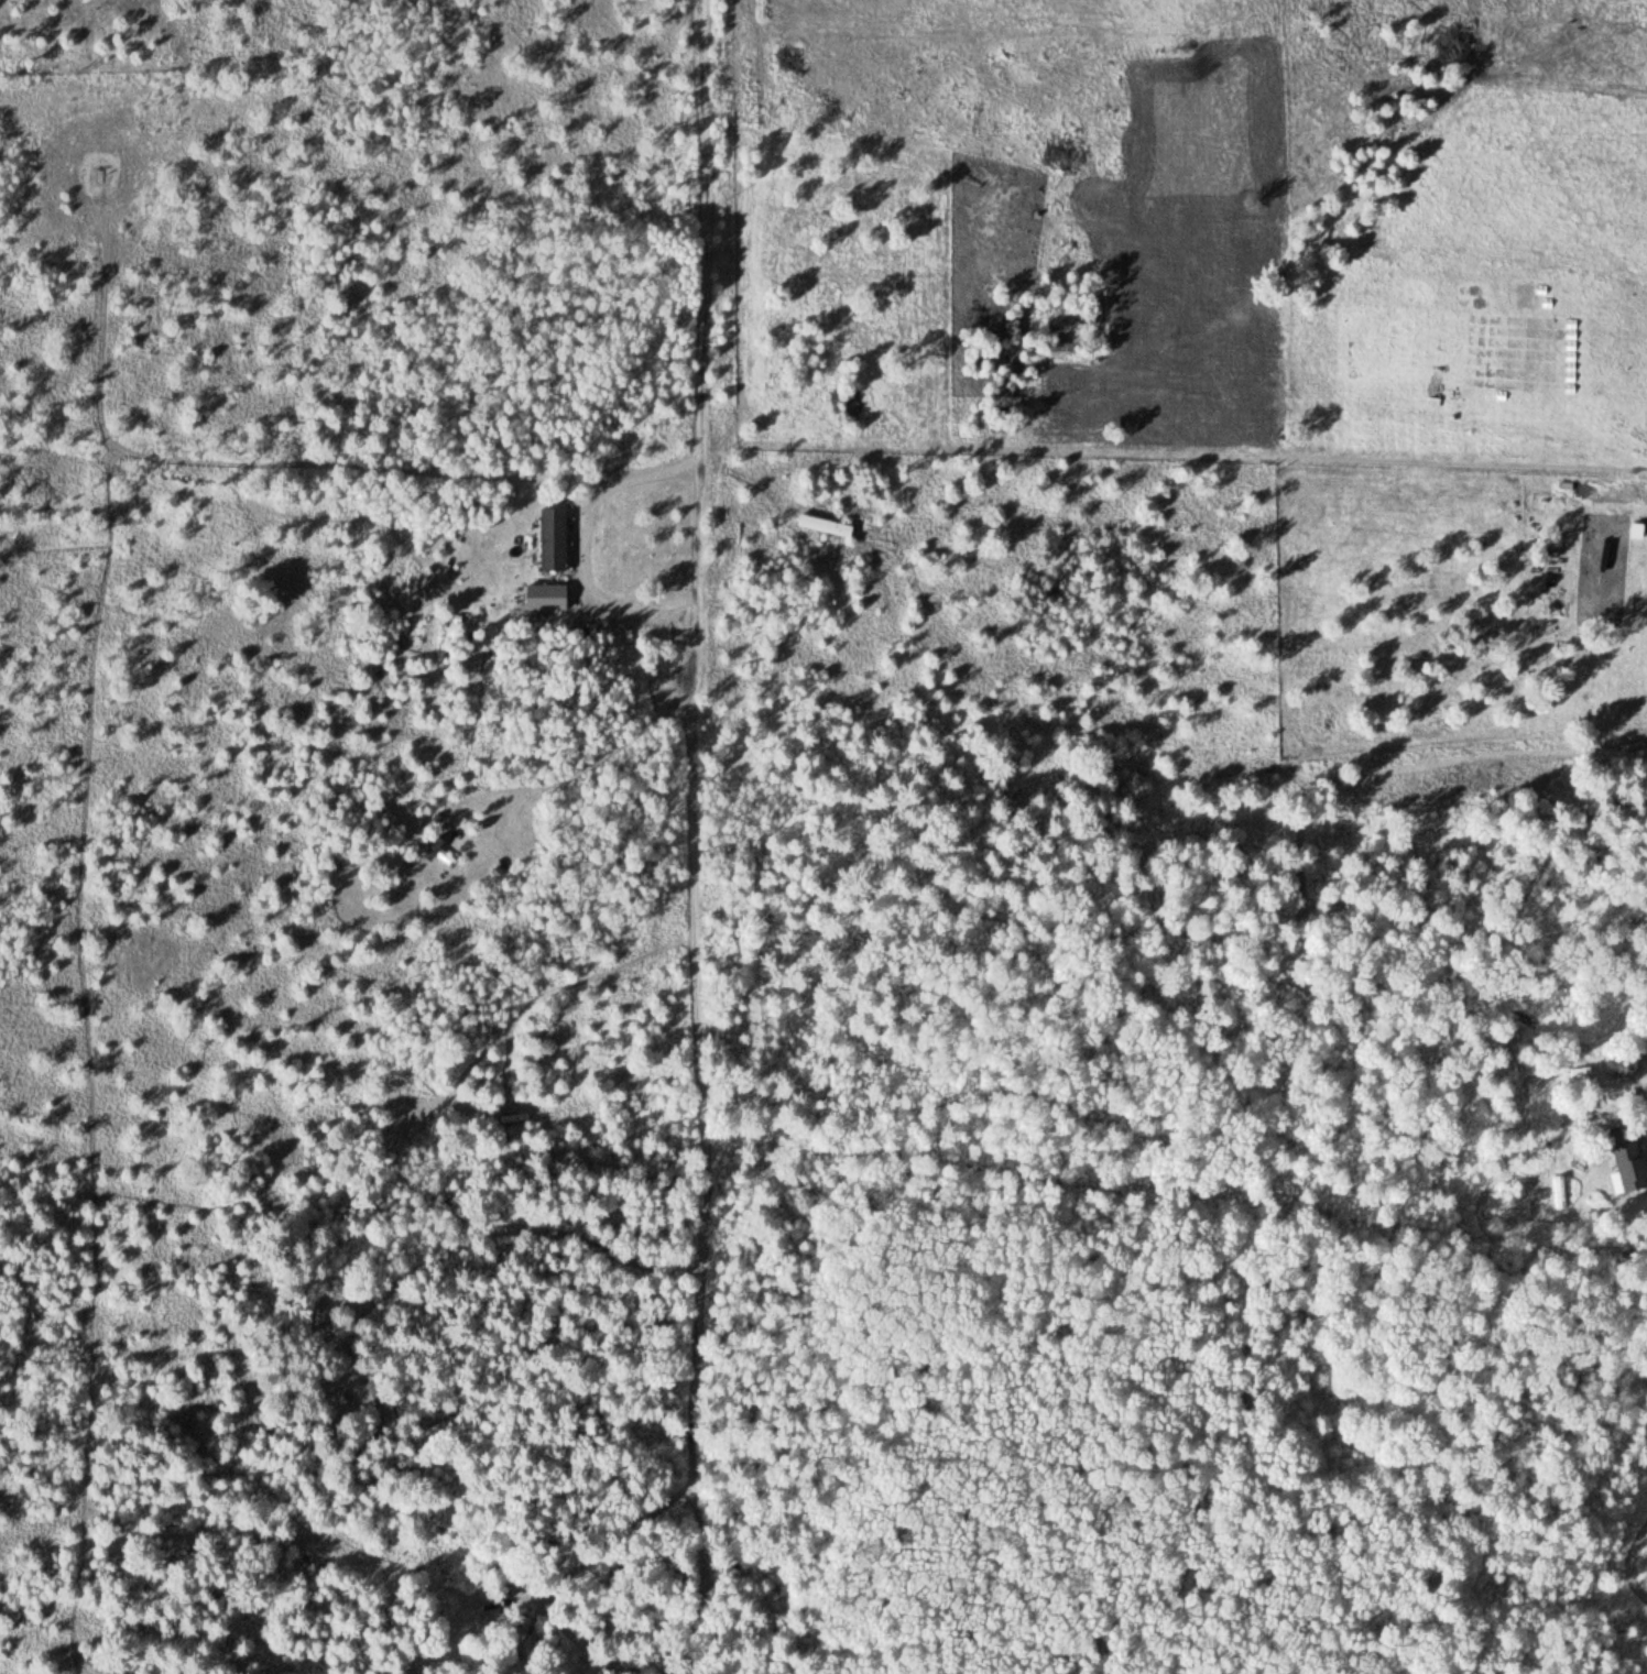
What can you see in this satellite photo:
building: (549, 538)
building: (543, 597)
road: (710, 719)
building: (1624, 1153)
building: (526, 1638)

